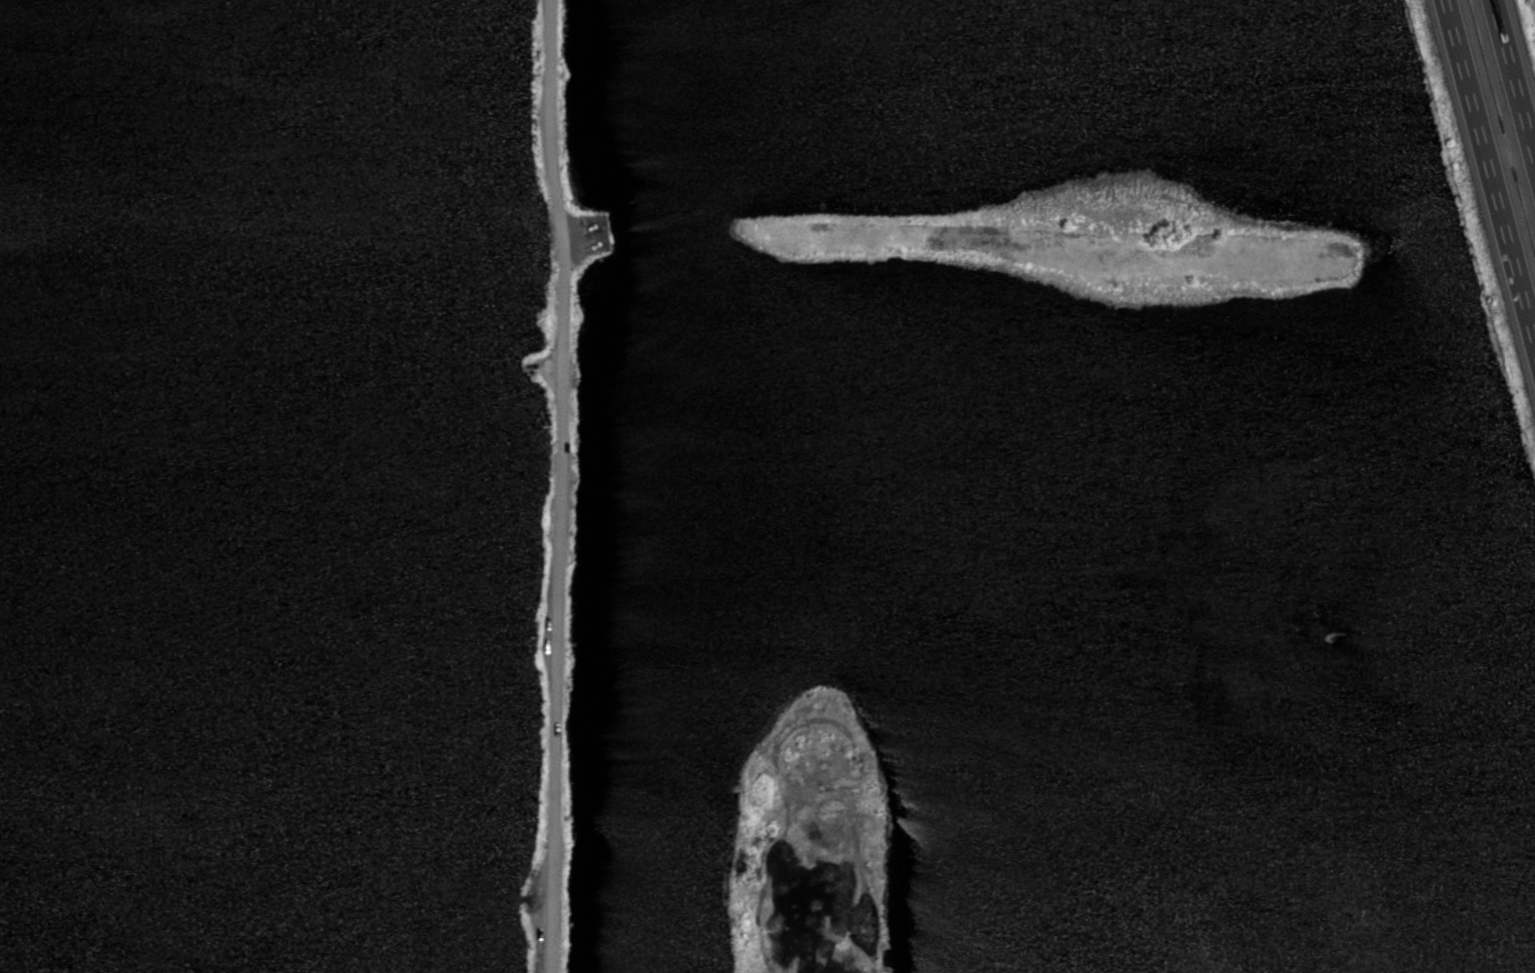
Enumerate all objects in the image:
road: (1511, 71)
road: (1463, 77)
road: (1507, 149)
road: (1532, 152)
road: (1509, 251)
park: (288, 485)
road: (562, 486)

